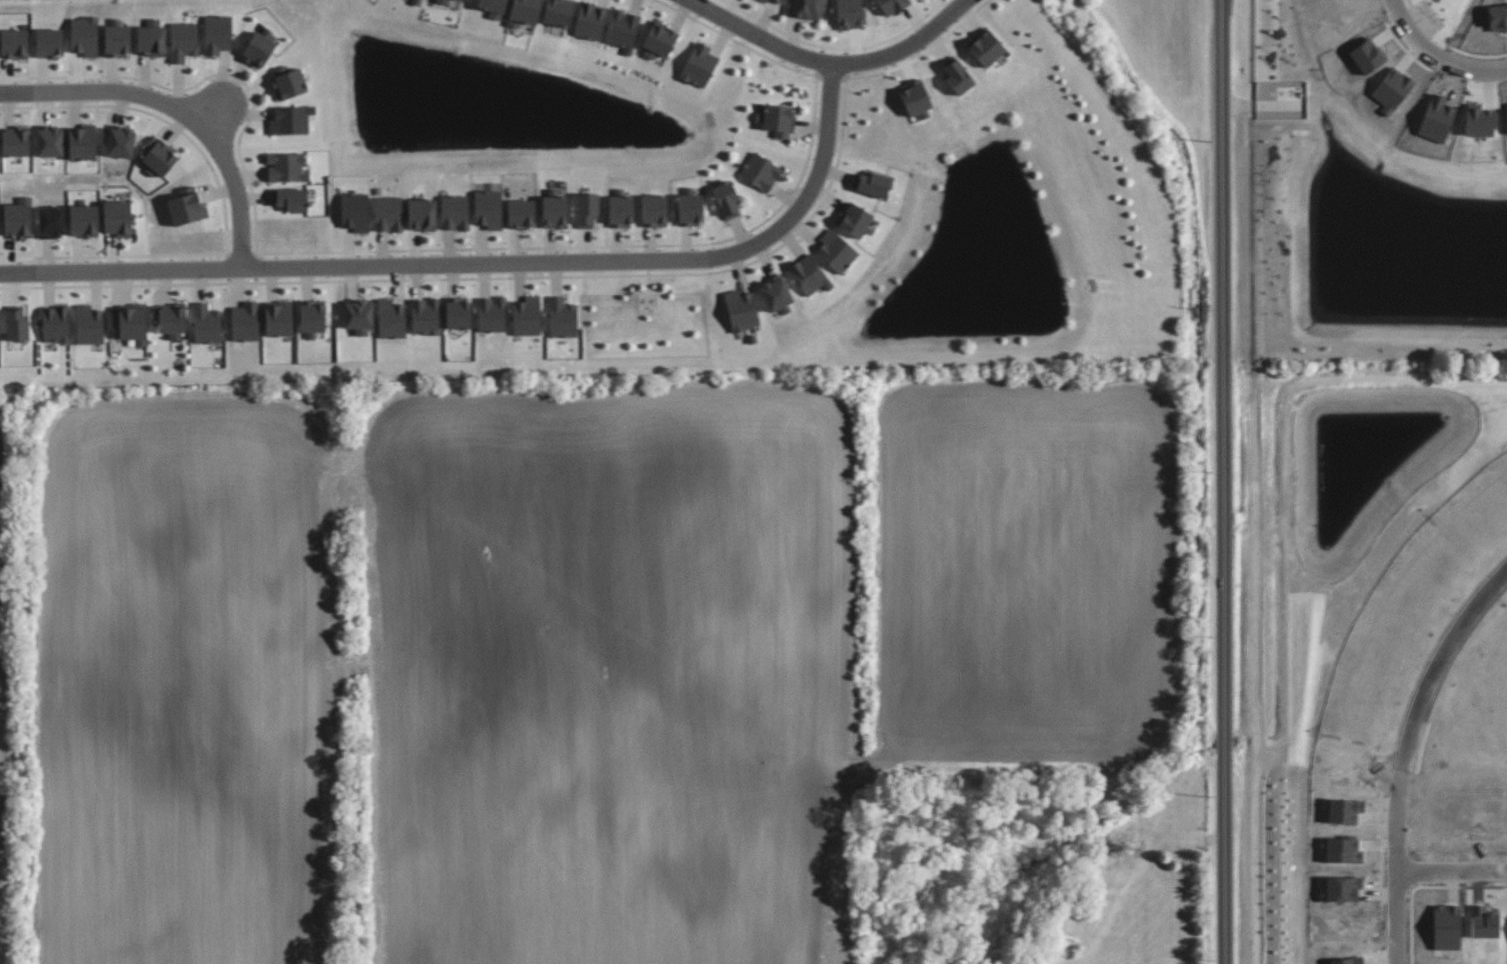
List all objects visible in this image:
building: (457, 0)
building: (765, 0)
building: (441, 1)
building: (778, 1)
building: (417, 2)
building: (892, 5)
building: (493, 7)
building: (807, 8)
building: (559, 11)
building: (523, 12)
building: (849, 14)
building: (590, 21)
building: (623, 30)
building: (217, 34)
building: (84, 35)
building: (151, 37)
building: (117, 38)
building: (658, 40)
building: (182, 41)
building: (49, 42)
building: (14, 43)
building: (986, 47)
building: (258, 48)
road: (1441, 55)
building: (699, 65)
road: (831, 65)
building: (957, 76)
building: (288, 84)
building: (915, 97)
road: (182, 106)
building: (290, 119)
building: (778, 120)
building: (49, 140)
building: (118, 141)
building: (15, 142)
building: (82, 142)
building: (157, 156)
building: (285, 167)
building: (760, 172)
building: (873, 183)
building: (291, 199)
building: (727, 200)
building: (186, 207)
building: (688, 207)
building: (488, 209)
building: (586, 209)
building: (553, 210)
building: (620, 210)
building: (654, 210)
building: (354, 211)
building: (454, 212)
building: (388, 213)
building: (421, 214)
building: (521, 214)
building: (17, 218)
building: (117, 218)
building: (83, 220)
building: (854, 220)
building: (51, 221)
building: (835, 251)
road: (483, 266)
building: (808, 274)
building: (775, 294)
building: (741, 310)
building: (458, 313)
building: (491, 314)
building: (526, 315)
building: (425, 316)
building: (312, 317)
building: (358, 317)
building: (561, 317)
building: (278, 318)
building: (391, 318)
building: (170, 320)
building: (245, 321)
building: (130, 322)
building: (206, 323)
building: (16, 324)
building: (55, 324)
building: (89, 324)
road: (1224, 482)
road: (1404, 756)
road: (1452, 874)

